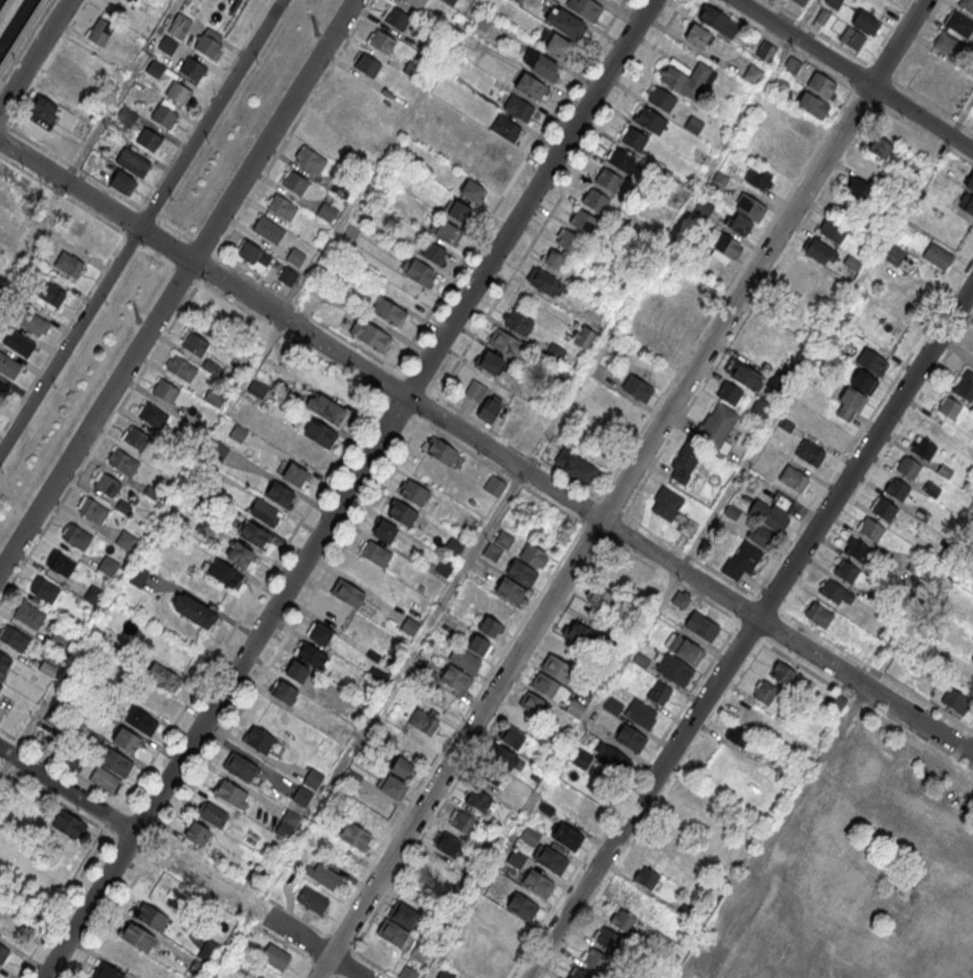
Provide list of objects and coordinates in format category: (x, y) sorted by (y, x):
building: (133, 0)
building: (518, 1)
building: (449, 2)
building: (800, 2)
building: (415, 3)
building: (834, 3)
building: (239, 4)
building: (967, 4)
building: (585, 8)
building: (7, 11)
building: (396, 17)
building: (713, 17)
building: (825, 17)
building: (482, 21)
building: (181, 22)
building: (865, 22)
building: (565, 23)
building: (960, 23)
building: (99, 31)
road: (888, 32)
building: (21, 33)
power tower: (316, 34)
building: (699, 36)
building: (853, 39)
building: (381, 40)
road: (916, 40)
building: (167, 44)
building: (554, 44)
building: (947, 44)
building: (208, 45)
building: (426, 46)
building: (766, 51)
road: (34, 54)
building: (78, 56)
building: (367, 64)
building: (791, 65)
road: (868, 65)
building: (541, 66)
building: (155, 68)
building: (193, 69)
building: (411, 69)
building: (66, 73)
building: (752, 73)
road: (854, 75)
building: (674, 79)
building: (821, 84)
building: (530, 86)
building: (353, 88)
building: (178, 92)
building: (661, 98)
building: (813, 105)
building: (43, 107)
building: (518, 107)
building: (163, 115)
building: (126, 117)
building: (649, 119)
building: (694, 124)
building: (505, 127)
building: (896, 129)
building: (634, 138)
building: (148, 139)
road: (284, 140)
building: (65, 145)
building: (884, 149)
building: (309, 158)
building: (492, 158)
building: (622, 159)
building: (133, 162)
building: (911, 168)
building: (759, 177)
building: (718, 179)
building: (609, 180)
building: (294, 181)
building: (122, 182)
building: (970, 182)
road: (509, 185)
building: (338, 188)
building: (473, 190)
building: (860, 190)
road: (559, 198)
building: (596, 200)
building: (966, 203)
building: (282, 206)
building: (750, 206)
building: (703, 207)
building: (326, 210)
building: (459, 210)
building: (583, 221)
building: (739, 223)
road: (140, 225)
building: (268, 229)
building: (832, 230)
building: (447, 231)
road: (761, 236)
building: (567, 239)
building: (723, 246)
building: (820, 251)
building: (433, 252)
building: (894, 254)
building: (254, 255)
building: (295, 256)
building: (937, 257)
building: (553, 258)
building: (68, 263)
building: (420, 271)
building: (287, 274)
building: (545, 281)
road: (176, 284)
building: (50, 293)
building: (313, 299)
building: (389, 311)
power tower: (134, 321)
building: (32, 322)
building: (518, 322)
building: (370, 334)
building: (583, 336)
building: (18, 342)
building: (505, 342)
building: (194, 344)
building: (655, 346)
building: (555, 352)
building: (871, 361)
building: (492, 362)
building: (8, 365)
building: (181, 368)
building: (744, 374)
building: (864, 381)
building: (963, 385)
building: (637, 387)
building: (2, 388)
building: (258, 388)
building: (476, 390)
building: (165, 391)
building: (729, 392)
building: (852, 398)
building: (761, 407)
building: (948, 407)
building: (326, 409)
building: (489, 410)
building: (153, 416)
building: (715, 426)
building: (320, 433)
building: (238, 434)
building: (137, 437)
road: (99, 441)
road: (487, 445)
building: (923, 448)
building: (305, 451)
building: (442, 451)
building: (810, 453)
building: (123, 462)
building: (685, 462)
building: (576, 466)
building: (908, 467)
road: (502, 471)
building: (295, 475)
building: (795, 478)
building: (107, 485)
building: (494, 486)
road: (729, 486)
road: (349, 488)
road: (619, 489)
building: (896, 489)
building: (933, 489)
building: (412, 492)
building: (279, 493)
building: (666, 502)
building: (93, 509)
building: (884, 510)
building: (265, 512)
building: (402, 512)
building: (773, 512)
road: (496, 515)
building: (384, 530)
building: (871, 530)
building: (253, 534)
building: (760, 535)
building: (77, 536)
building: (504, 539)
building: (125, 541)
building: (455, 546)
building: (856, 549)
building: (492, 551)
road: (626, 551)
building: (374, 553)
building: (239, 554)
building: (533, 555)
building: (742, 560)
building: (60, 564)
building: (108, 566)
building: (443, 567)
building: (845, 571)
building: (522, 572)
building: (223, 573)
building: (139, 575)
building: (44, 589)
building: (510, 590)
building: (345, 592)
building: (835, 592)
building: (94, 595)
building: (599, 598)
building: (195, 611)
building: (818, 614)
building: (28, 615)
building: (410, 625)
building: (702, 626)
building: (490, 627)
road: (233, 629)
road: (748, 630)
building: (104, 631)
building: (320, 634)
building: (580, 634)
building: (14, 639)
building: (58, 641)
building: (479, 645)
building: (684, 648)
building: (869, 648)
building: (570, 653)
building: (311, 655)
building: (463, 659)
building: (972, 659)
building: (4, 662)
building: (556, 668)
building: (673, 668)
building: (46, 669)
building: (297, 671)
building: (782, 672)
building: (161, 675)
building: (455, 679)
building: (1, 685)
building: (549, 686)
building: (283, 690)
building: (659, 692)
building: (764, 692)
building: (151, 698)
building: (836, 699)
building: (956, 700)
road: (721, 705)
building: (535, 706)
building: (613, 706)
building: (575, 709)
building: (640, 713)
building: (749, 713)
building: (141, 720)
building: (423, 721)
building: (524, 721)
building: (737, 735)
building: (630, 737)
building: (513, 738)
building: (259, 739)
building: (128, 742)
road: (961, 743)
road: (445, 744)
building: (413, 748)
building: (502, 756)
building: (605, 760)
building: (72, 761)
building: (115, 762)
building: (239, 767)
building: (401, 767)
road: (553, 773)
building: (493, 776)
building: (312, 778)
building: (104, 779)
building: (393, 787)
road: (68, 790)
building: (231, 794)
building: (301, 796)
building: (478, 800)
building: (212, 814)
building: (462, 822)
building: (286, 824)
building: (68, 825)
building: (196, 832)
building: (355, 836)
building: (530, 836)
building: (567, 837)
building: (446, 843)
building: (658, 856)
building: (515, 859)
building: (549, 859)
building: (200, 871)
building: (323, 875)
building: (888, 875)
building: (646, 878)
building: (536, 883)
building: (419, 888)
road: (70, 893)
building: (312, 900)
building: (522, 907)
building: (493, 913)
building: (403, 914)
building: (150, 917)
building: (623, 921)
building: (395, 934)
building: (137, 937)
building: (607, 939)
road: (314, 947)
building: (208, 951)
building: (419, 953)
building: (4, 955)
building: (119, 955)
building: (275, 957)
building: (596, 961)
building: (243, 965)
road: (305, 971)
building: (105, 972)
building: (407, 972)
building: (579, 974)
road: (337, 977)

